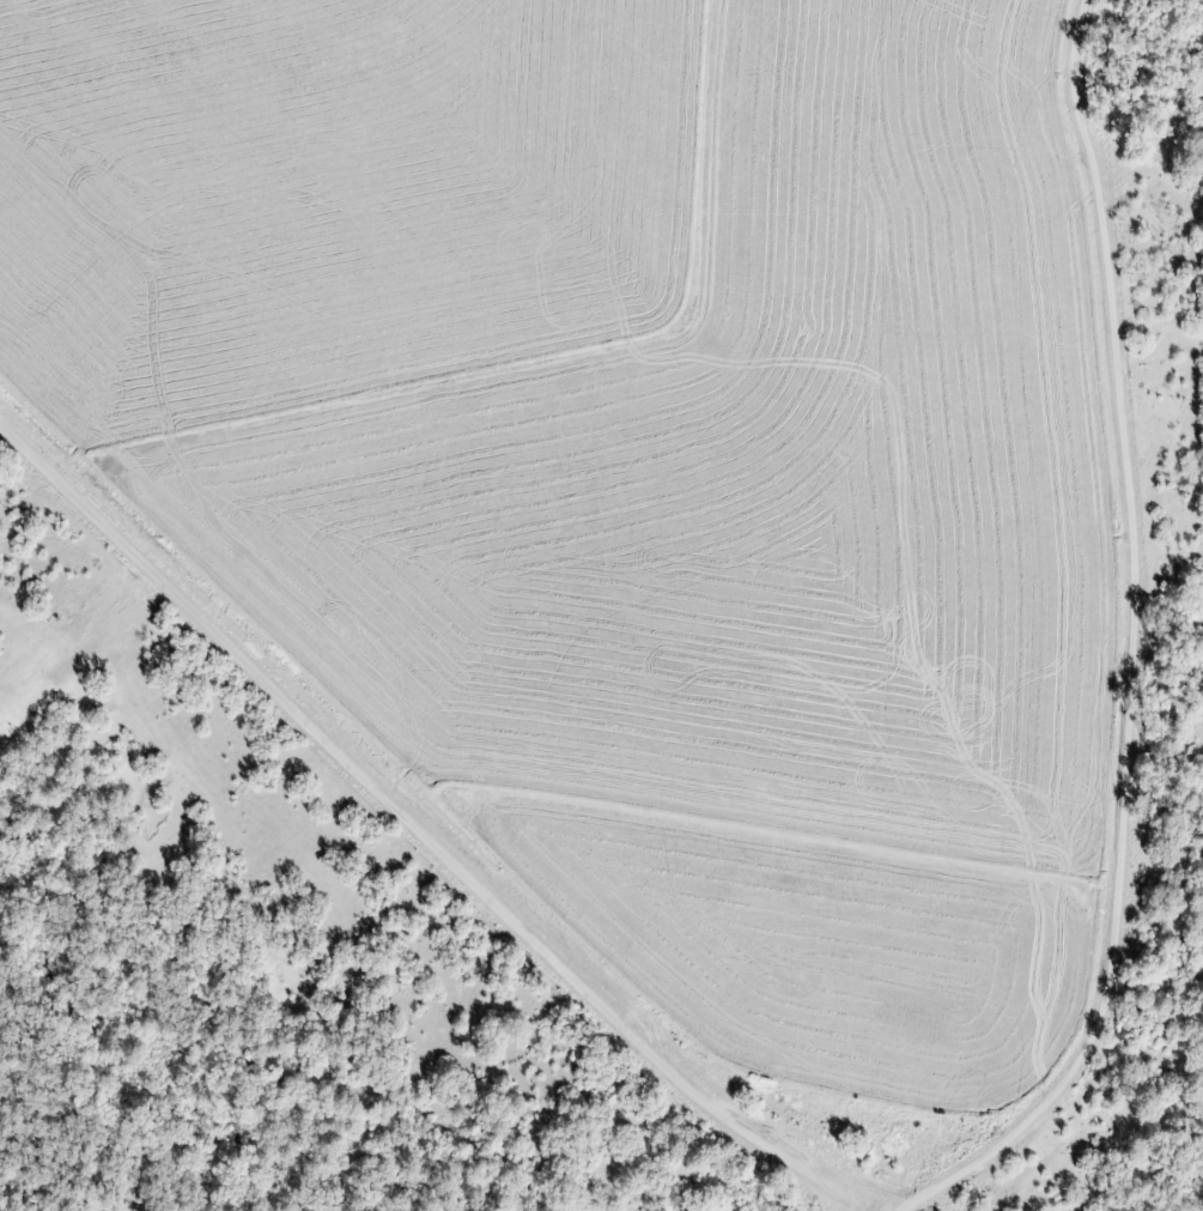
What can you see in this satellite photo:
road: (1180, 661)
road: (415, 799)

